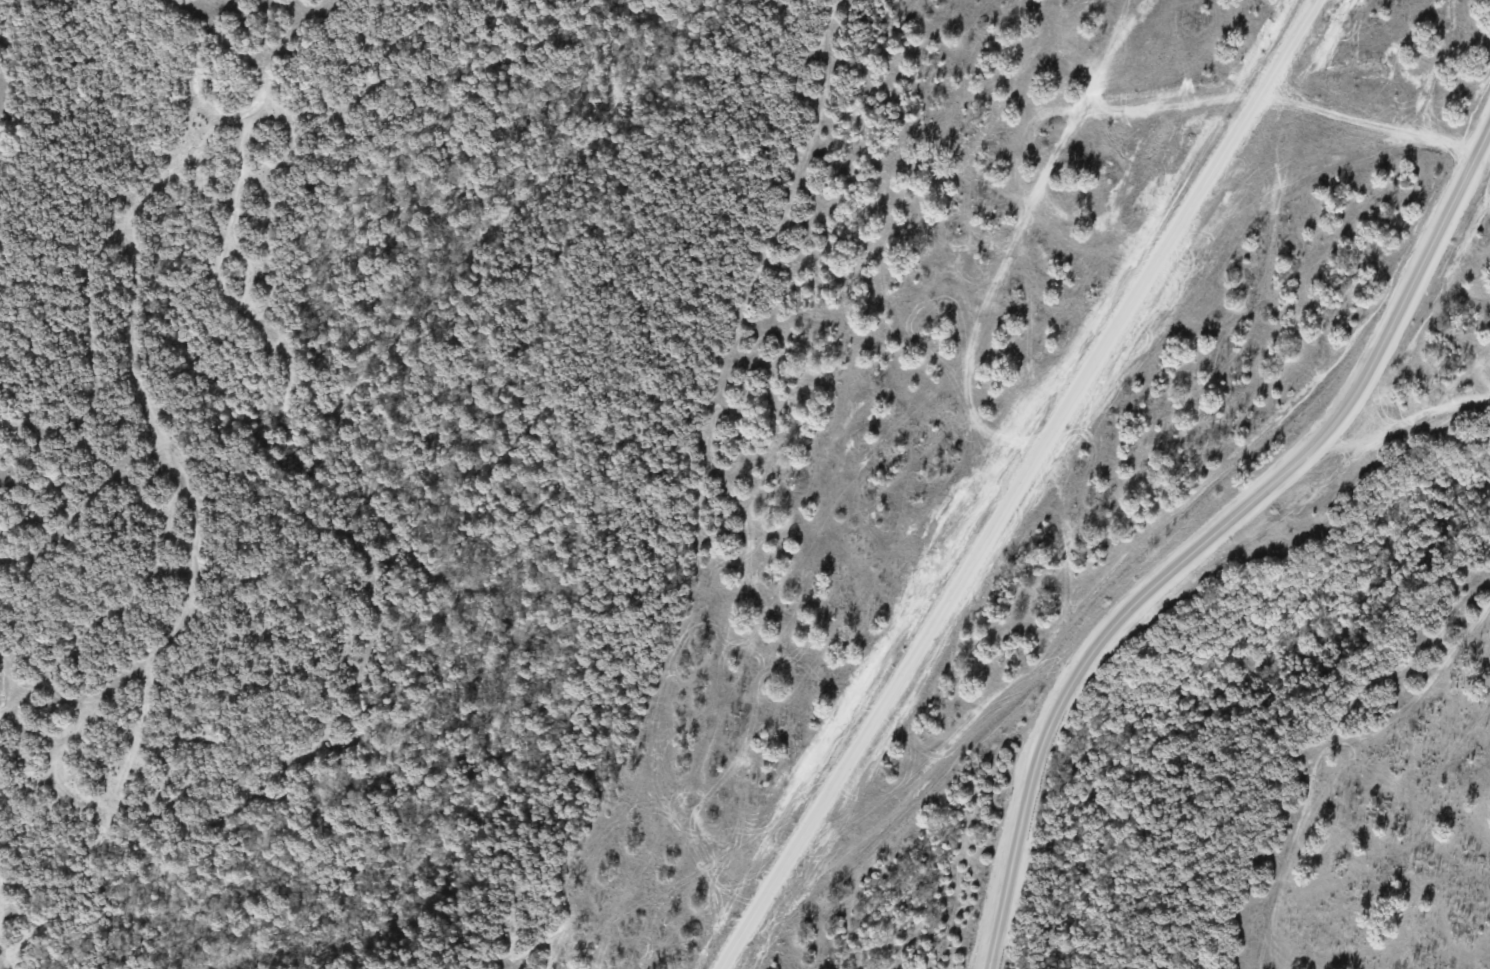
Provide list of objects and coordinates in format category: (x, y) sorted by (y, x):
road: (1022, 485)
road: (1211, 548)

